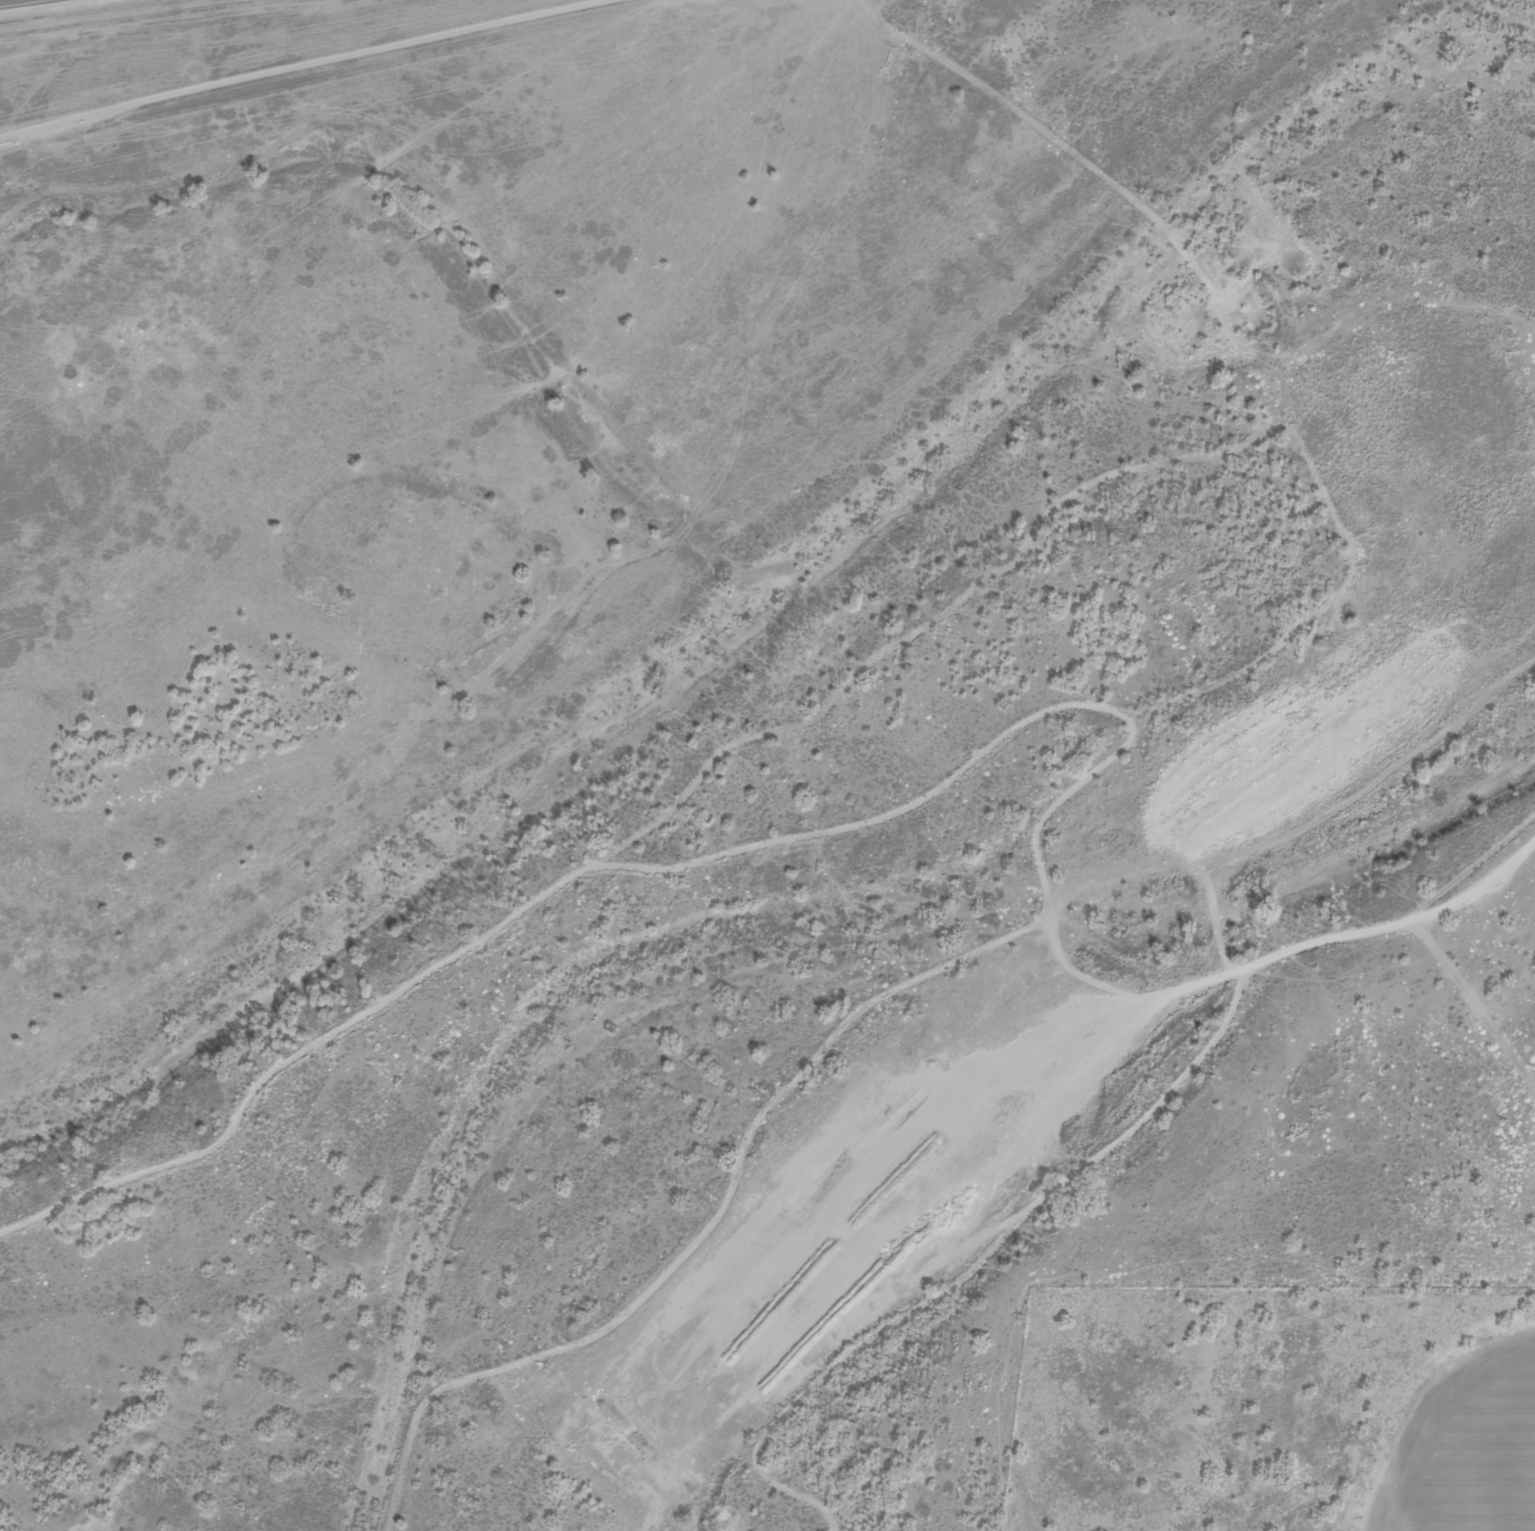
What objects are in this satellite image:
river: (1519, 6)
road: (304, 66)
river: (543, 362)
road: (1301, 443)
road: (929, 623)
road: (547, 893)
river: (769, 931)
road: (1347, 935)
road: (740, 1160)
road: (974, 1268)

